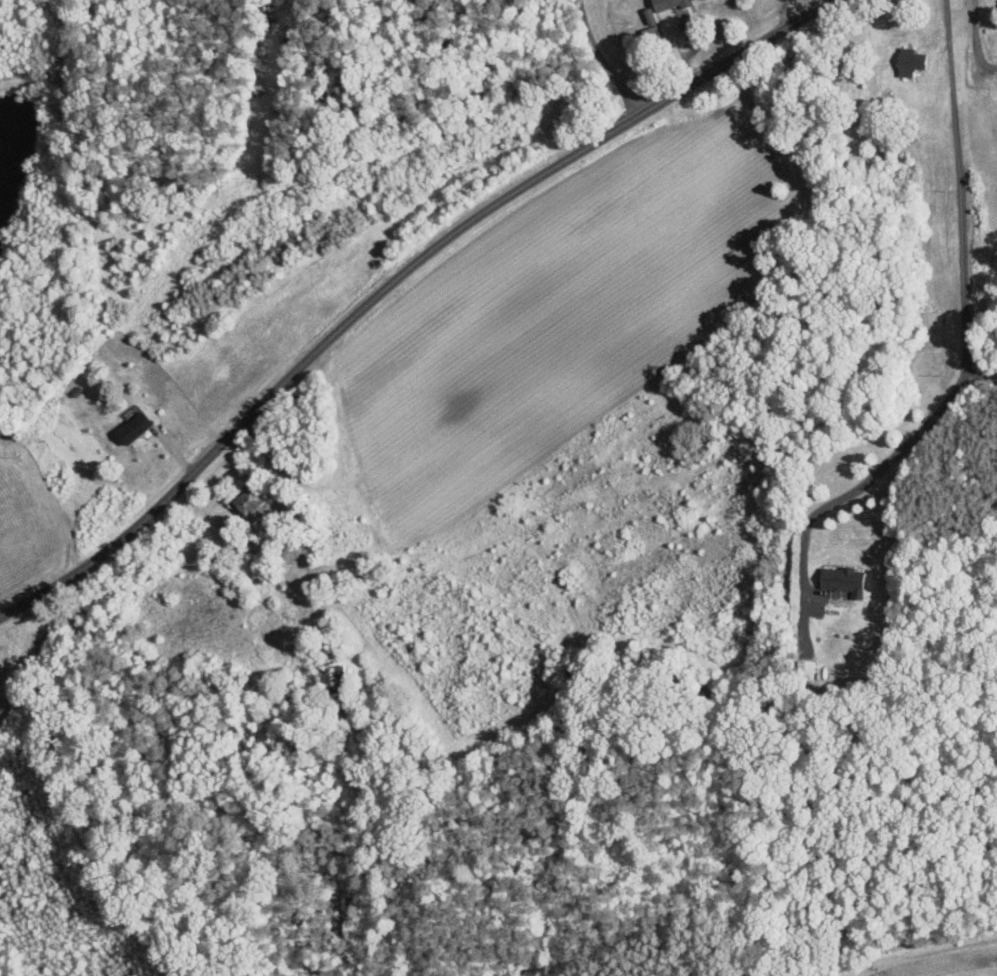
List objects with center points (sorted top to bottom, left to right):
building: (668, 3)
road: (783, 15)
road: (681, 24)
building: (651, 28)
road: (976, 39)
road: (602, 60)
building: (914, 61)
road: (398, 279)
road: (966, 325)
road: (980, 375)
building: (138, 426)
building: (253, 504)
building: (848, 580)
building: (332, 679)

